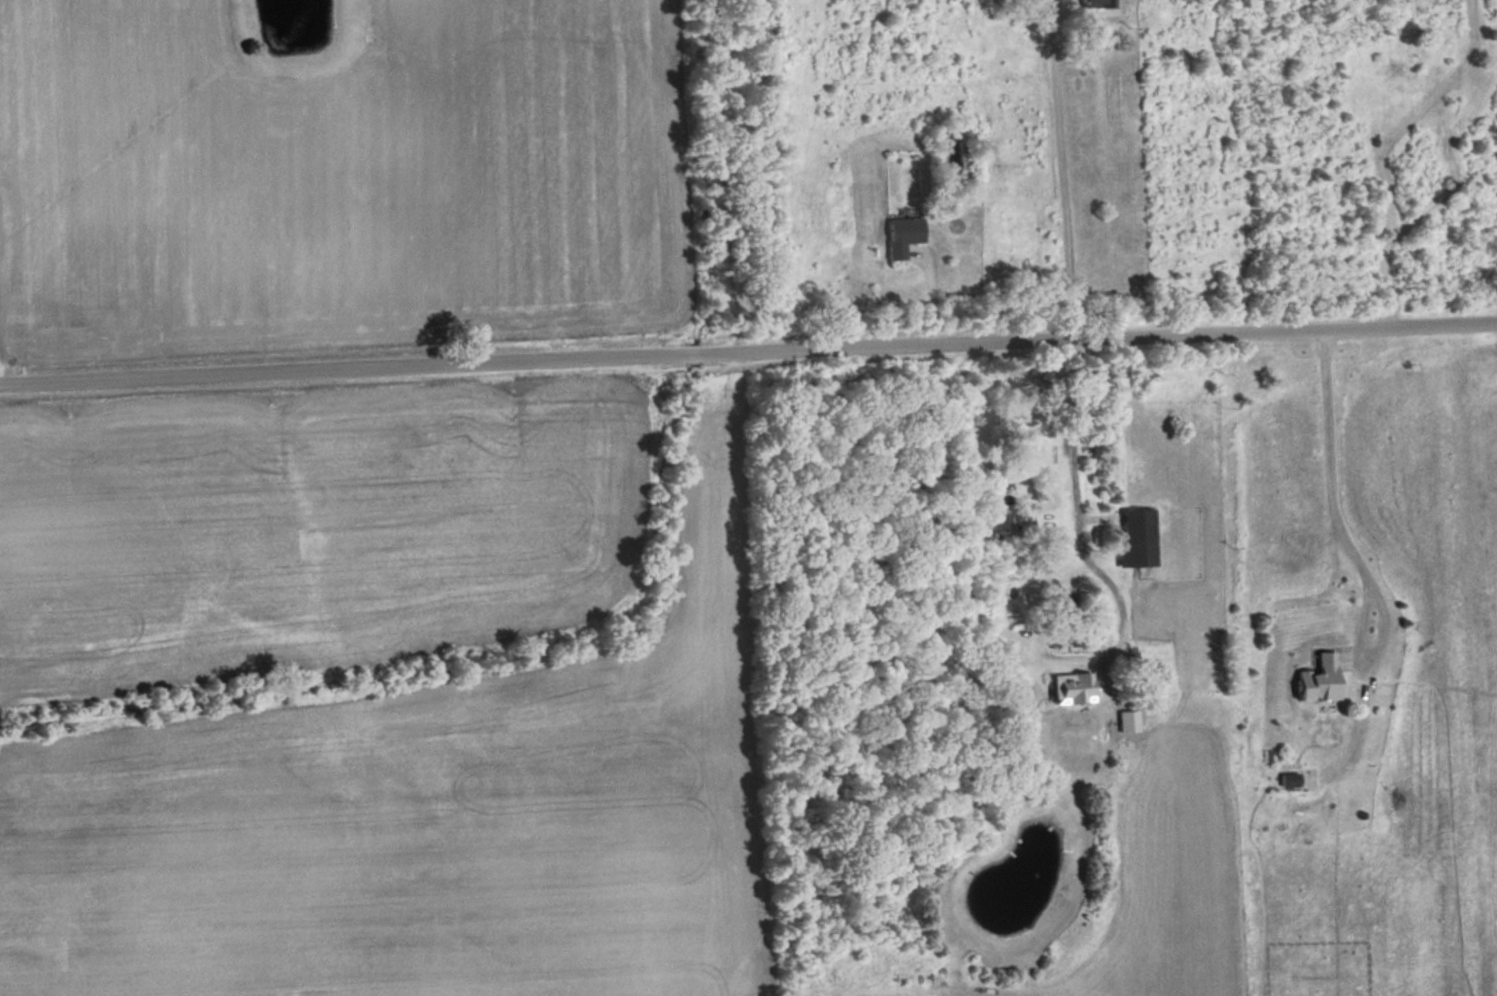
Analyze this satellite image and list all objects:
building: (1100, 3)
building: (904, 236)
road: (748, 350)
building: (1047, 449)
building: (1003, 514)
building: (1141, 539)
building: (1069, 602)
building: (1322, 679)

